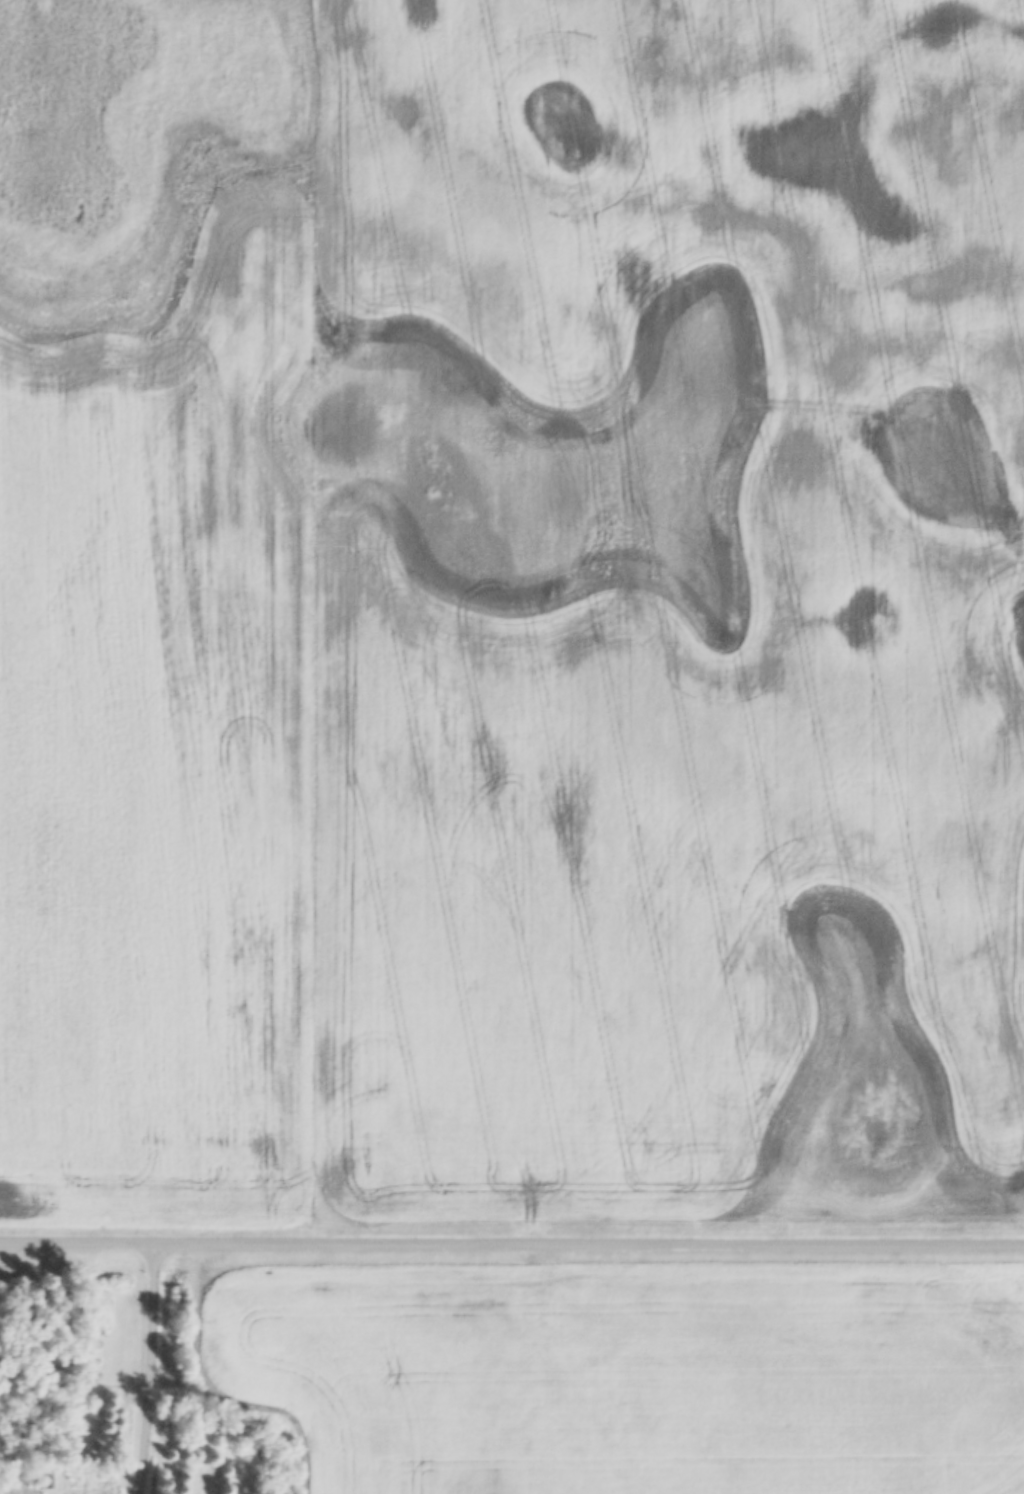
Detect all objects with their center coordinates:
road: (511, 1248)
road: (150, 1371)

